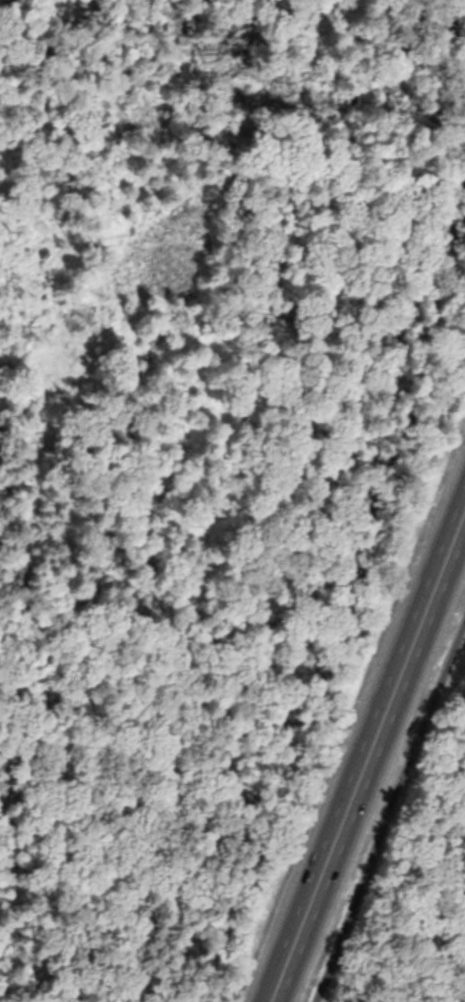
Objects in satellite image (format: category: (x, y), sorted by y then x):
road: (383, 729)
road: (394, 834)
road: (288, 970)

